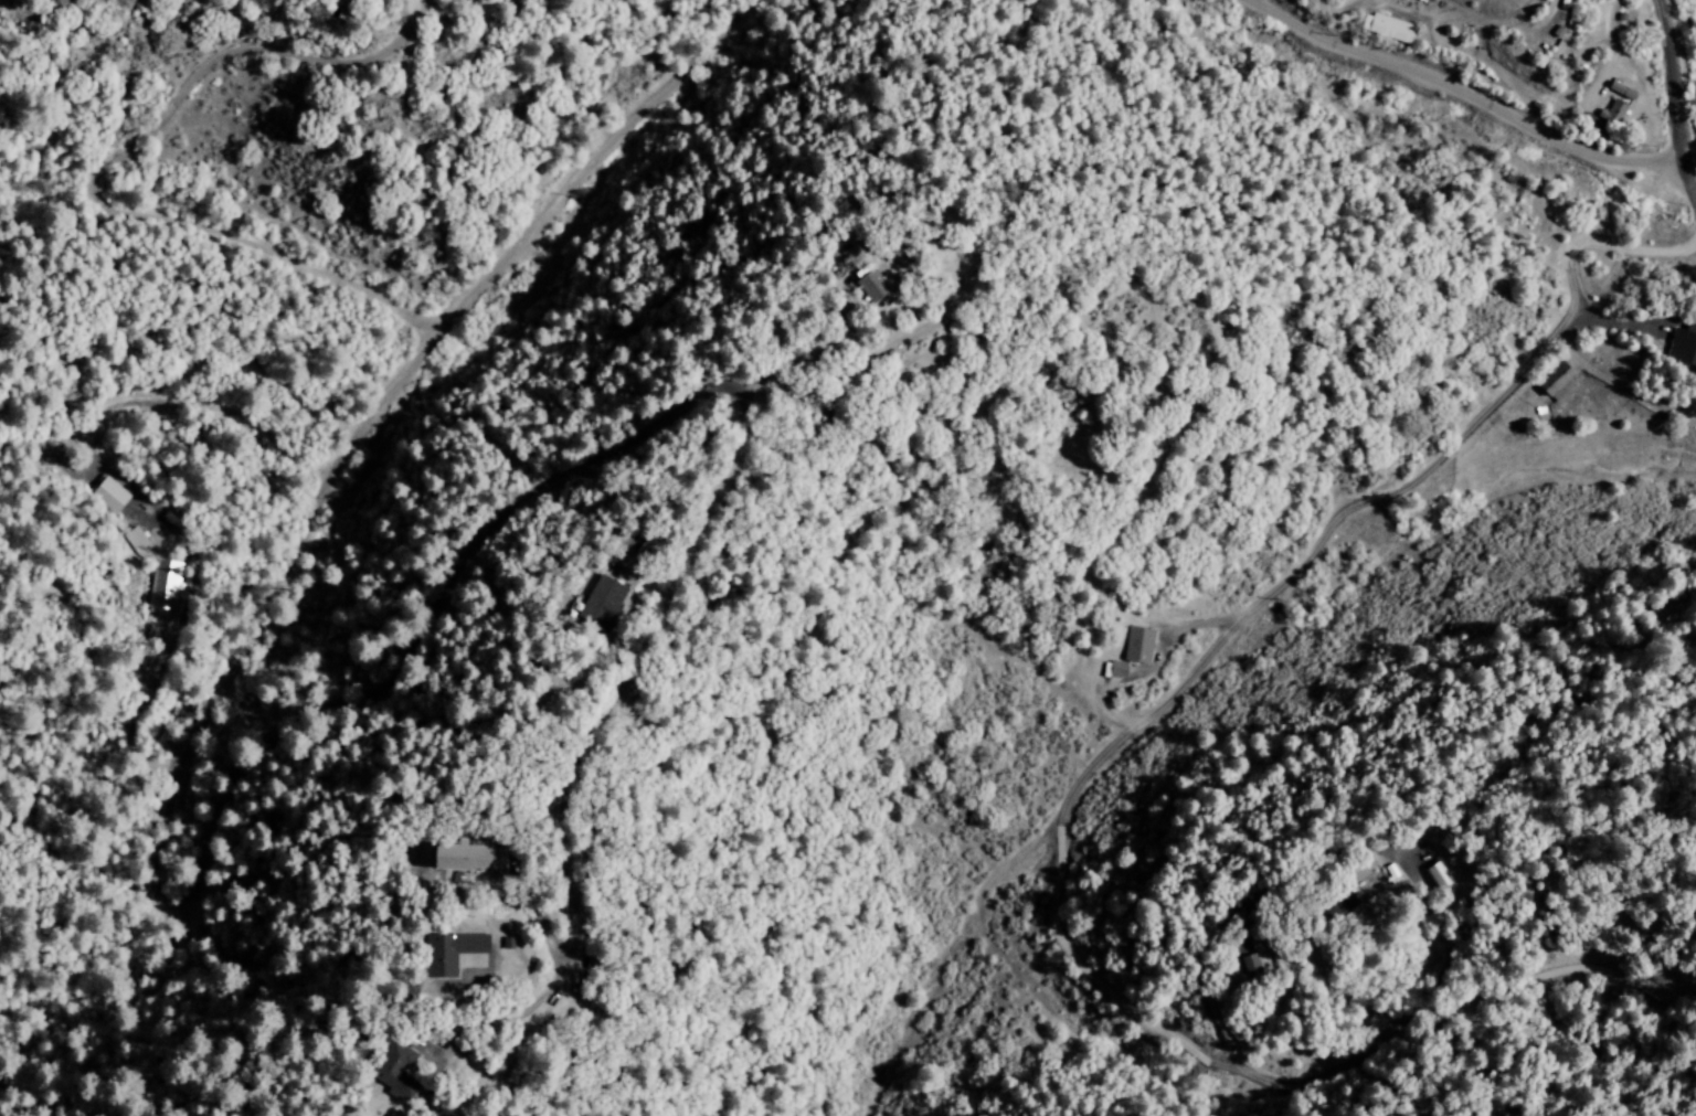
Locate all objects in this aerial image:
building: (358, 0)
building: (1390, 29)
road: (1450, 43)
road: (1601, 78)
road: (1460, 94)
building: (1616, 103)
road: (1673, 106)
road: (97, 170)
road: (1649, 254)
building: (861, 286)
road: (1618, 325)
building: (1682, 347)
road: (794, 351)
building: (1557, 383)
road: (675, 480)
road: (1392, 492)
building: (109, 495)
road: (142, 501)
building: (165, 585)
building: (595, 603)
building: (1137, 646)
road: (1141, 673)
road: (271, 744)
building: (456, 860)
building: (1440, 874)
road: (534, 911)
road: (1223, 917)
building: (444, 955)
building: (1250, 965)
road: (468, 984)
road: (509, 1053)
road: (1230, 1066)
building: (392, 1073)

